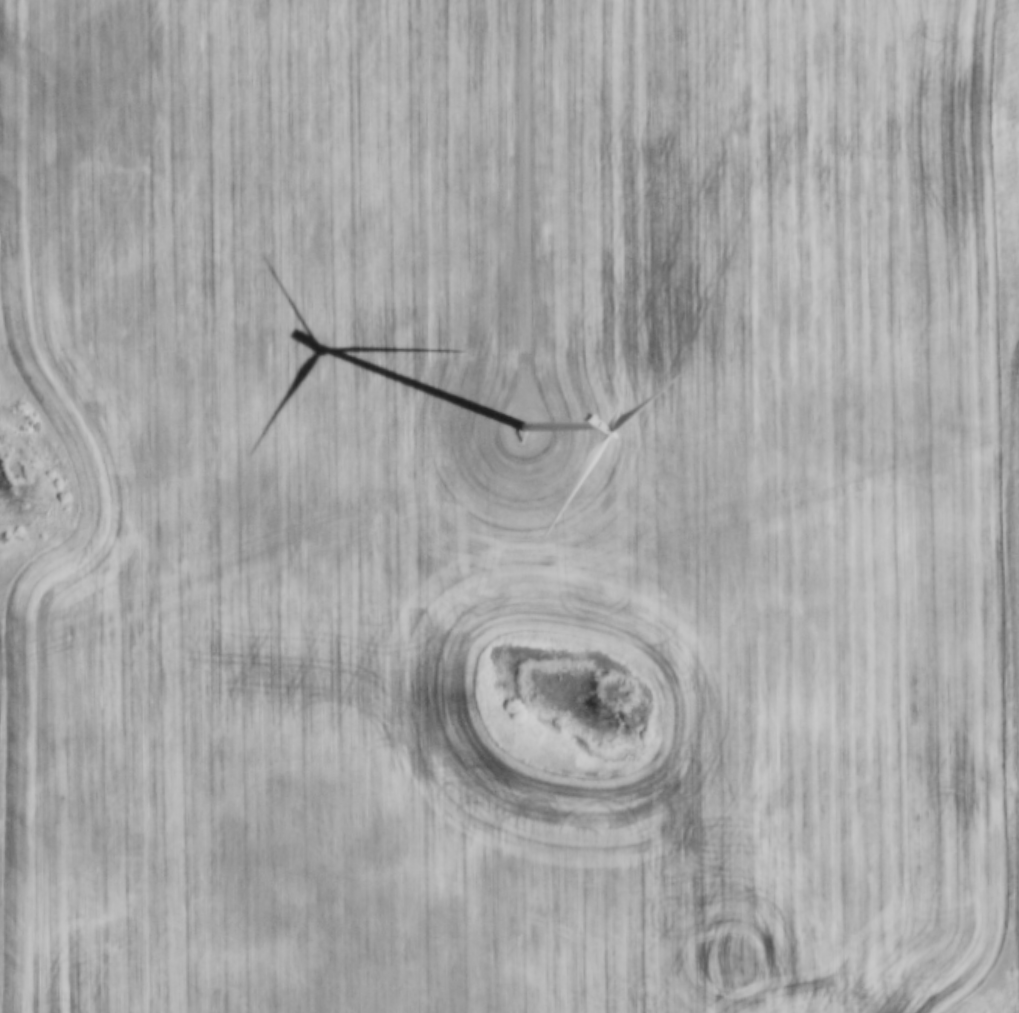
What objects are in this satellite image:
wind turbine: (527, 428)

